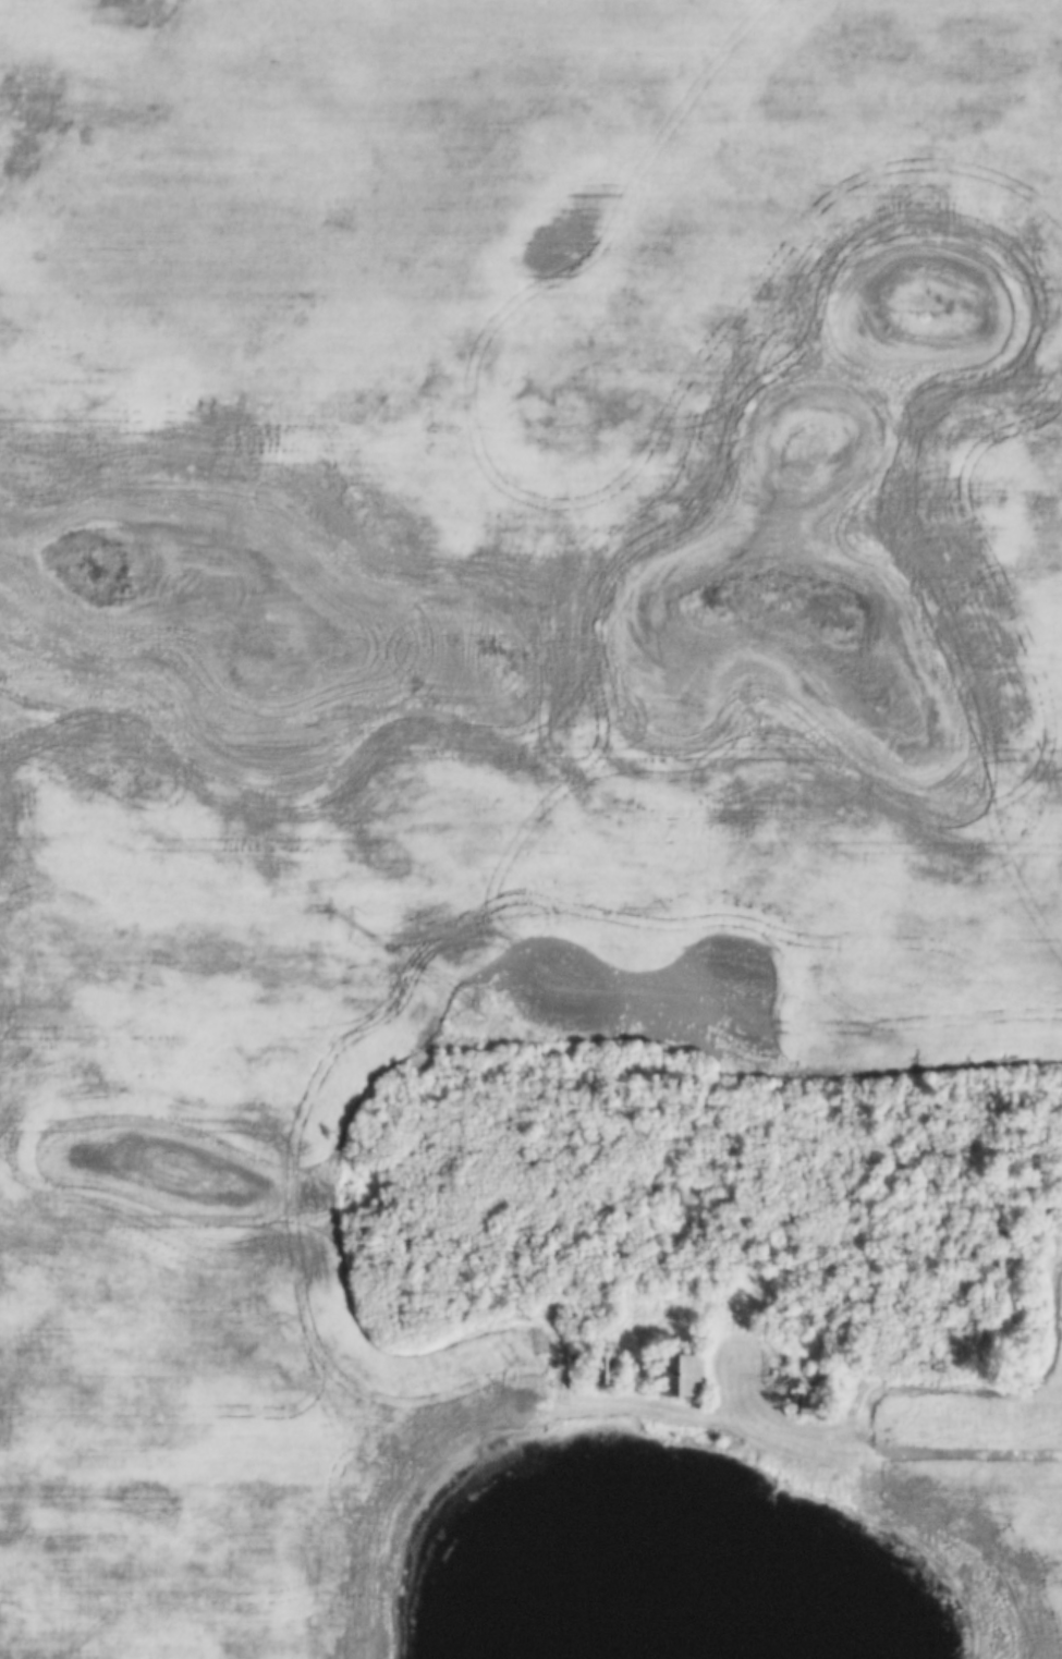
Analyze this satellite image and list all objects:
power tower: (466, 1000)
building: (678, 1375)
building: (808, 1406)
road: (865, 1455)

